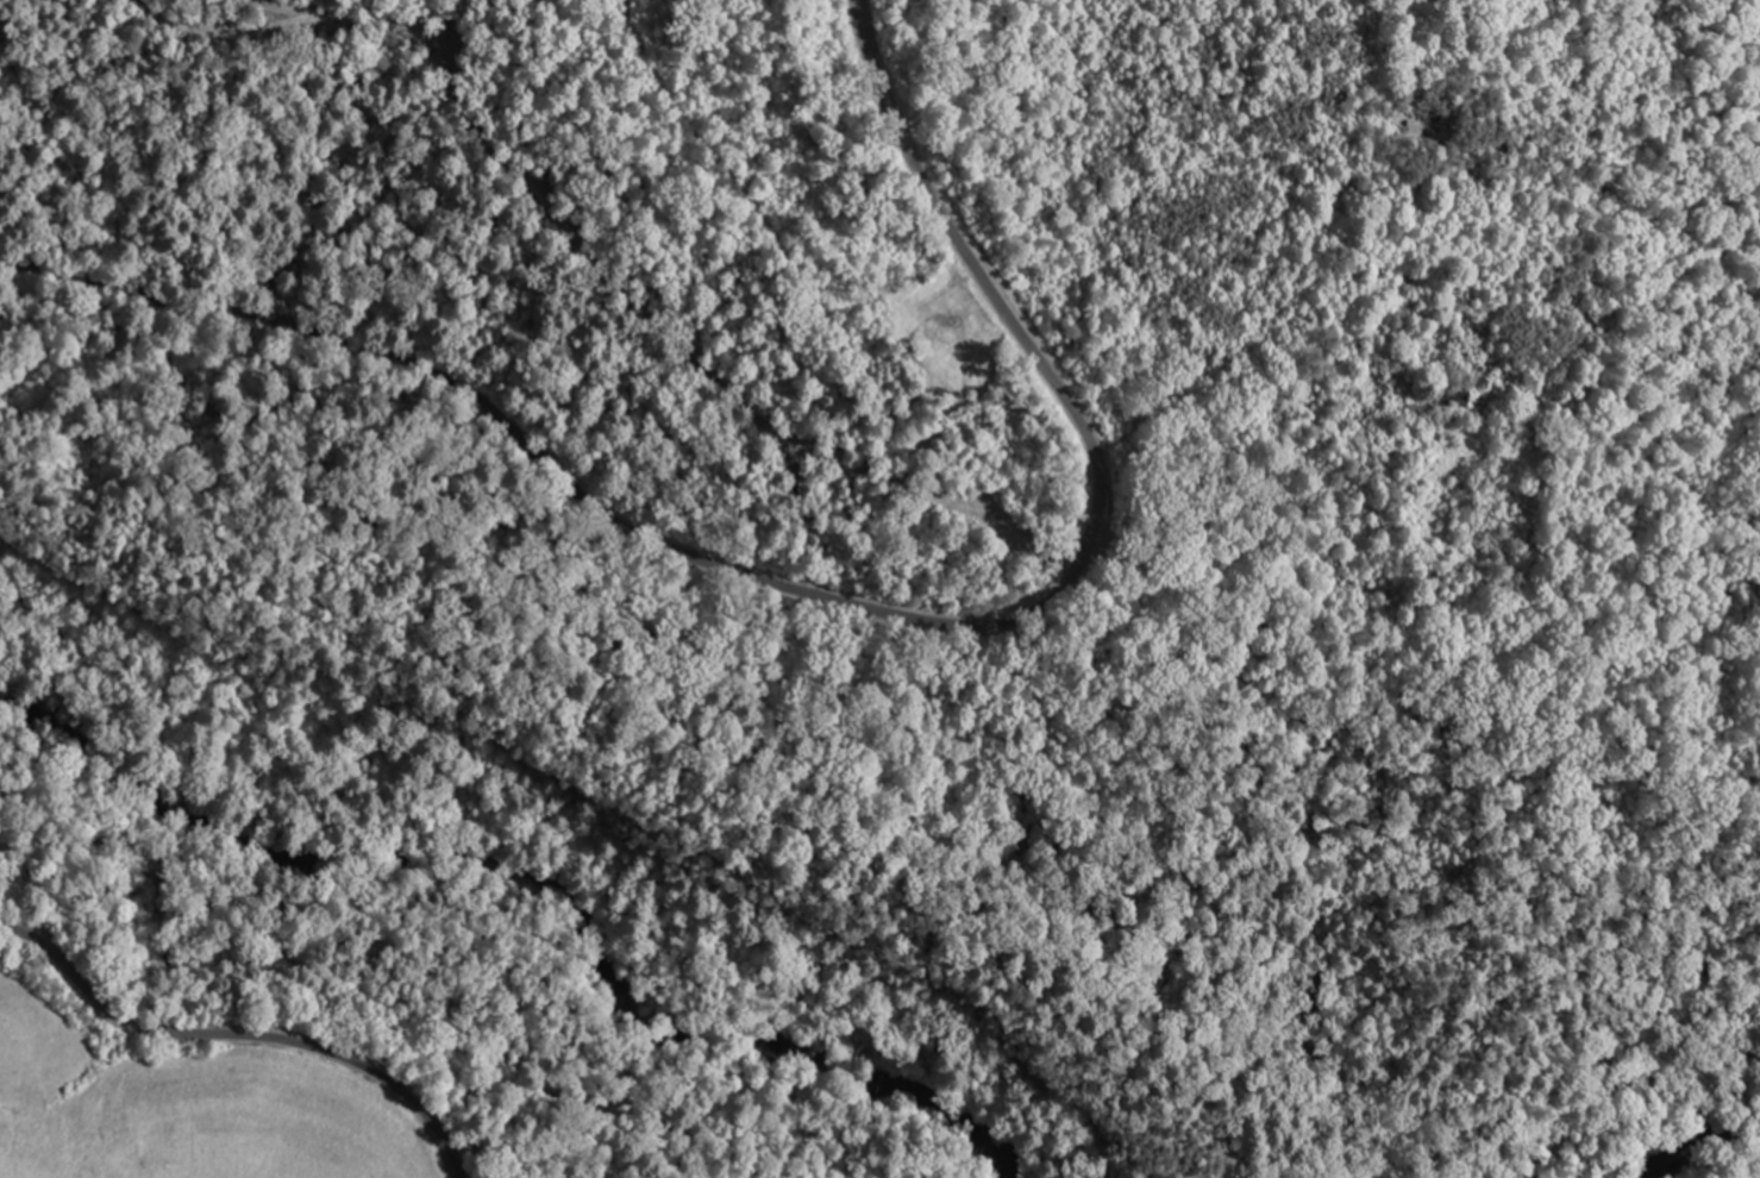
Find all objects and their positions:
road: (816, 584)
road: (238, 1036)

